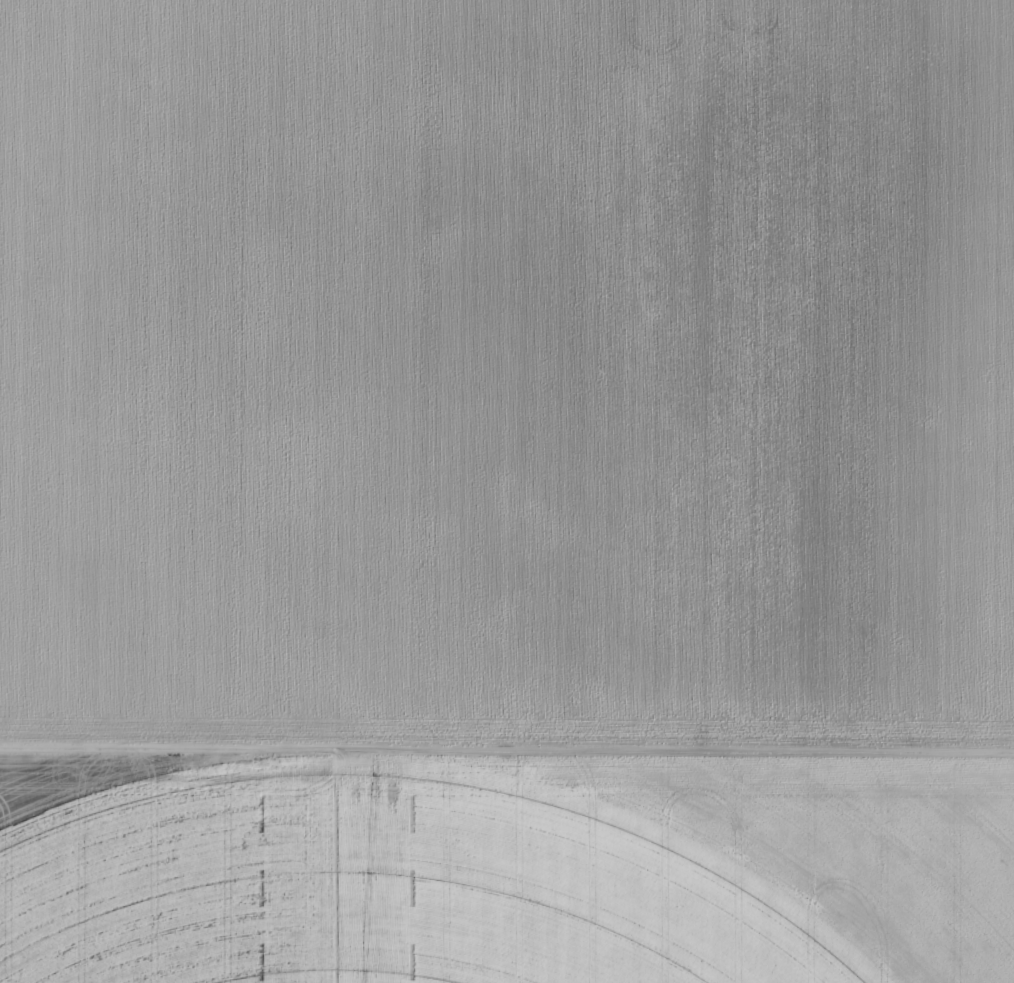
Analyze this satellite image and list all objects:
road: (507, 745)

